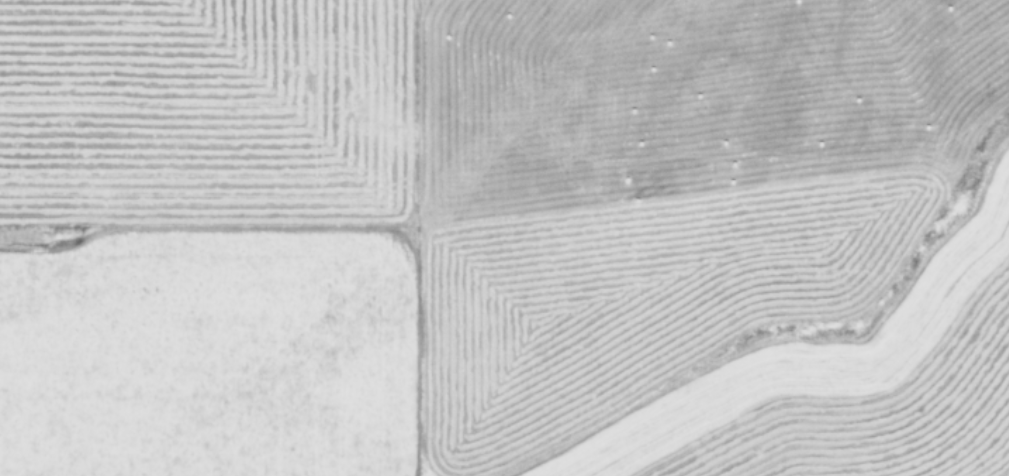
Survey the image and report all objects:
crop: (504, 238)

